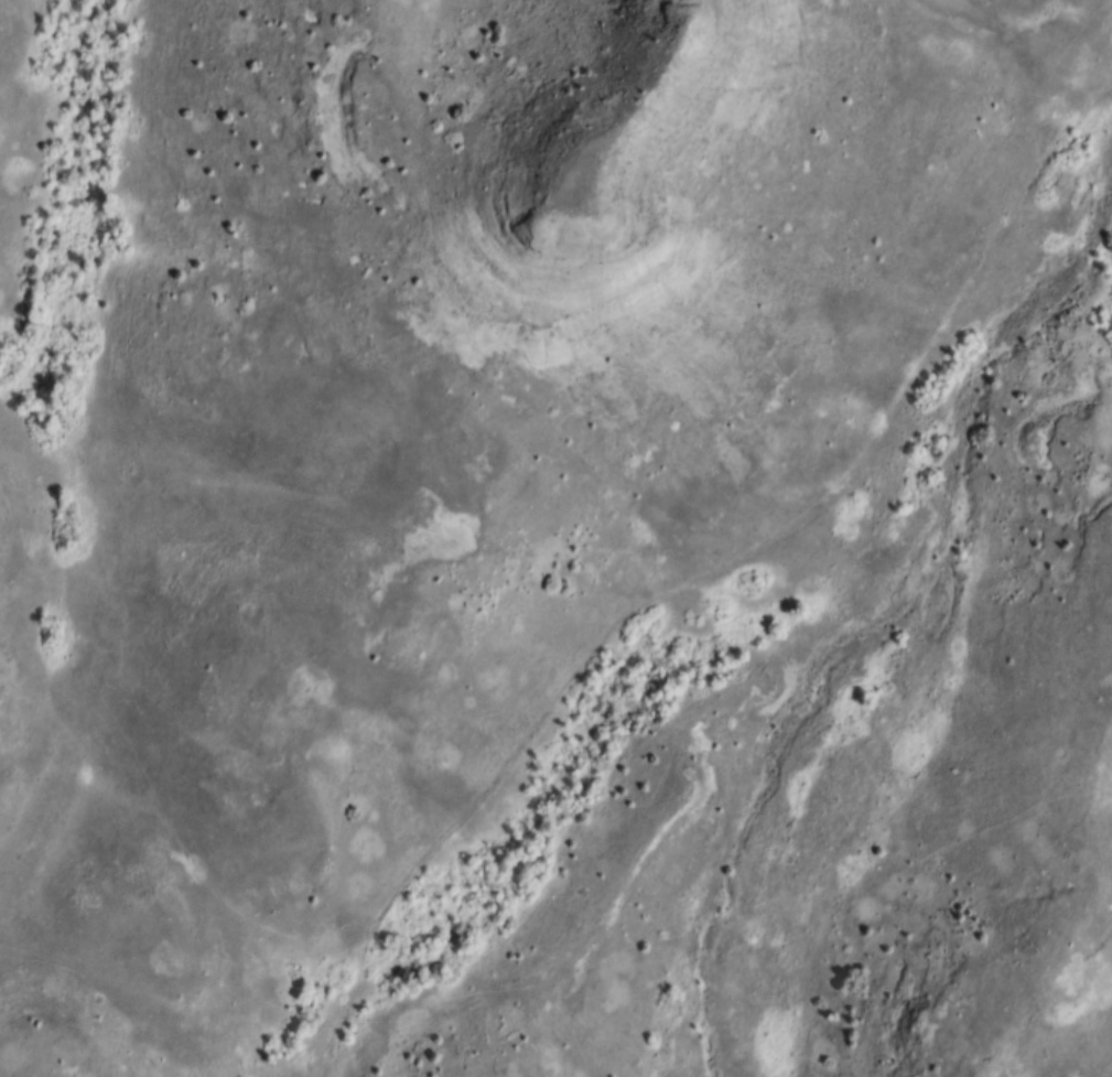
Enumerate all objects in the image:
road: (1069, 109)
road: (739, 560)

